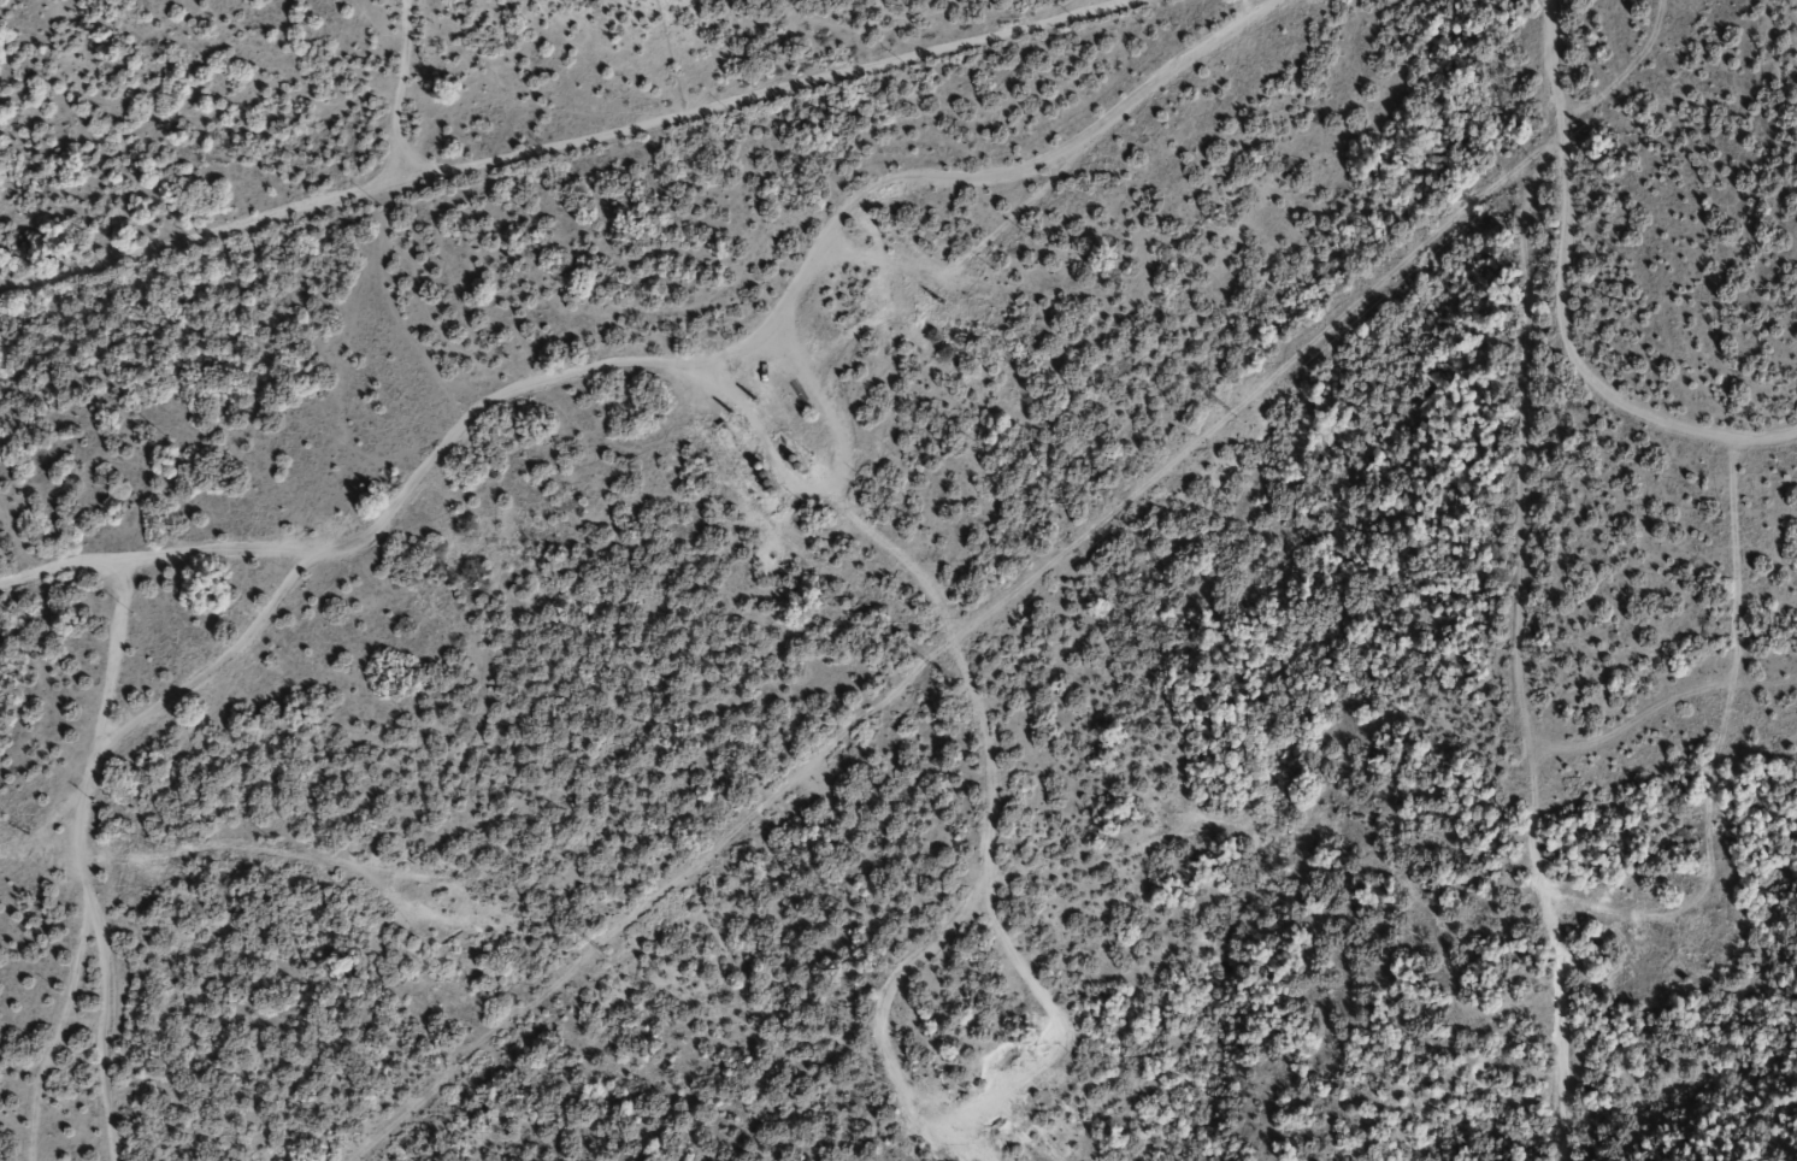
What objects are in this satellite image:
power tower: (1532, 157)
power tower: (1233, 414)
power tower: (936, 668)
power tower: (606, 953)

